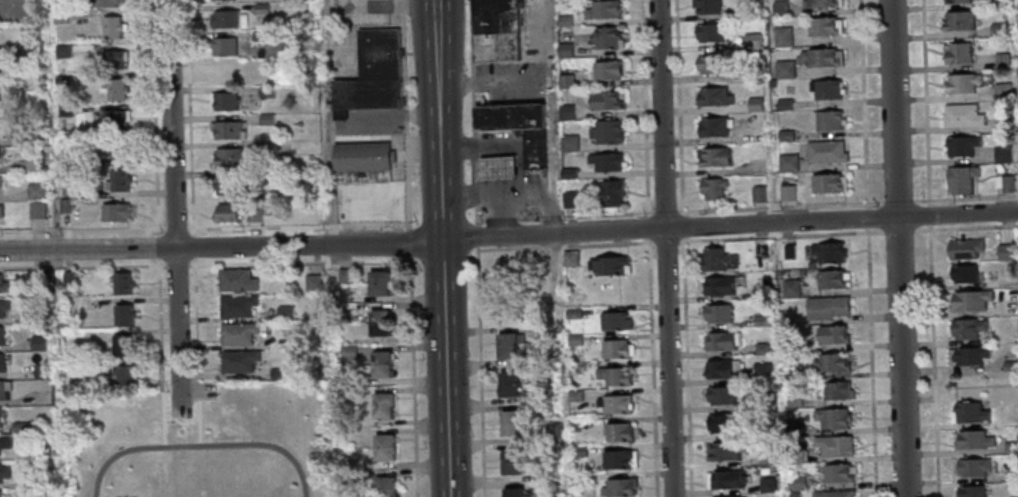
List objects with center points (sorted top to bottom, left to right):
building: (105, 2)
building: (957, 2)
building: (821, 4)
building: (707, 7)
building: (260, 8)
building: (781, 8)
building: (602, 9)
parking lot: (20, 10)
road: (435, 12)
road: (13, 14)
building: (496, 16)
building: (60, 18)
building: (223, 18)
building: (563, 20)
building: (959, 22)
building: (112, 26)
building: (821, 27)
building: (997, 30)
building: (709, 34)
building: (258, 35)
building: (604, 37)
building: (783, 37)
building: (752, 41)
building: (223, 44)
building: (496, 47)
building: (564, 50)
building: (1, 51)
building: (62, 51)
building: (26, 54)
building: (958, 54)
building: (113, 58)
building: (822, 58)
building: (1002, 61)
building: (261, 63)
building: (711, 66)
building: (607, 69)
building: (785, 70)
building: (228, 74)
building: (373, 74)
building: (754, 75)
building: (0, 79)
building: (61, 79)
building: (565, 81)
building: (12, 84)
building: (962, 84)
building: (114, 88)
building: (826, 90)
building: (265, 91)
building: (1002, 92)
building: (714, 99)
building: (224, 100)
building: (606, 100)
road: (926, 101)
road: (864, 103)
building: (784, 104)
building: (755, 105)
road: (680, 107)
road: (645, 109)
road: (893, 109)
building: (65, 110)
road: (473, 111)
building: (565, 112)
building: (509, 115)
road: (190, 116)
building: (114, 117)
road: (154, 117)
road: (553, 117)
building: (962, 117)
building: (265, 118)
building: (828, 121)
road: (326, 122)
building: (1003, 124)
building: (714, 128)
building: (227, 129)
building: (605, 130)
building: (30, 133)
building: (786, 136)
building: (568, 142)
building: (112, 145)
building: (265, 147)
building: (533, 147)
building: (961, 147)
building: (826, 154)
building: (1002, 155)
building: (227, 156)
building: (715, 158)
building: (33, 161)
building: (605, 161)
building: (364, 162)
building: (788, 164)
building: (498, 166)
building: (568, 173)
building: (262, 175)
building: (117, 179)
building: (0, 181)
building: (961, 181)
building: (225, 184)
building: (827, 185)
building: (1006, 185)
building: (35, 190)
building: (713, 190)
building: (69, 191)
building: (610, 193)
building: (758, 194)
building: (787, 194)
road: (966, 197)
building: (569, 199)
road: (651, 201)
road: (898, 201)
parking lot: (373, 203)
building: (63, 204)
street lamp: (140, 204)
road: (666, 204)
road: (779, 206)
road: (173, 207)
building: (36, 209)
building: (0, 210)
building: (113, 210)
building: (236, 212)
road: (929, 214)
road: (563, 216)
road: (868, 217)
road: (687, 225)
road: (298, 226)
road: (966, 227)
road: (175, 228)
road: (643, 228)
road: (82, 229)
road: (899, 230)
road: (477, 234)
road: (783, 235)
road: (509, 237)
road: (194, 245)
road: (159, 246)
road: (563, 246)
building: (964, 247)
road: (409, 248)
road: (664, 248)
building: (759, 249)
road: (666, 251)
road: (681, 251)
building: (788, 251)
building: (827, 251)
building: (1005, 251)
road: (652, 253)
building: (569, 258)
building: (713, 258)
road: (442, 260)
road: (299, 261)
building: (811, 263)
road: (177, 264)
building: (608, 264)
road: (82, 266)
building: (506, 267)
building: (963, 272)
building: (342, 275)
building: (66, 278)
building: (831, 278)
building: (37, 279)
building: (235, 279)
building: (378, 281)
building: (121, 282)
building: (313, 283)
building: (3, 284)
building: (716, 284)
building: (790, 287)
building: (759, 293)
building: (969, 299)
building: (3, 305)
building: (236, 305)
building: (825, 306)
building: (1007, 308)
building: (285, 312)
building: (717, 312)
building: (573, 313)
building: (122, 314)
building: (26, 316)
building: (614, 320)
building: (760, 320)
building: (379, 321)
road: (159, 324)
road: (196, 327)
building: (966, 327)
building: (236, 333)
building: (831, 333)
building: (1, 334)
building: (574, 340)
building: (722, 340)
building: (37, 342)
building: (121, 344)
building: (509, 344)
building: (614, 348)
building: (761, 348)
building: (348, 351)
building: (969, 354)
road: (900, 357)
building: (237, 360)
road: (933, 361)
building: (1, 362)
building: (830, 362)
road: (871, 362)
building: (381, 363)
road: (688, 365)
building: (1009, 365)
building: (95, 366)
road: (653, 366)
building: (720, 367)
building: (41, 371)
road: (333, 371)
road: (481, 371)
building: (761, 371)
building: (276, 373)
building: (792, 374)
building: (124, 375)
building: (614, 375)
building: (509, 382)
building: (3, 388)
building: (836, 390)
building: (720, 394)
building: (574, 396)
building: (793, 401)
building: (764, 402)
building: (382, 404)
building: (614, 404)
building: (969, 412)
building: (3, 417)
building: (832, 417)
road: (162, 418)
road: (198, 421)
building: (511, 421)
building: (721, 422)
building: (18, 427)
road: (181, 427)
building: (793, 428)
flagpole: (180, 431)
building: (617, 431)
building: (972, 439)
building: (4, 440)
park: (203, 443)
road: (200, 444)
building: (384, 445)
building: (833, 445)
building: (1010, 447)
building: (725, 449)
building: (43, 452)
building: (577, 452)
building: (795, 455)
building: (765, 457)
building: (619, 459)
building: (511, 460)
building: (971, 466)
building: (4, 472)
building: (836, 473)
building: (726, 478)
building: (44, 482)
building: (794, 483)
building: (766, 484)
building: (384, 485)
building: (618, 487)
building: (513, 491)
building: (969, 491)
building: (1, 493)
building: (832, 493)
building: (791, 494)
building: (726, 495)
park: (125, 496)

